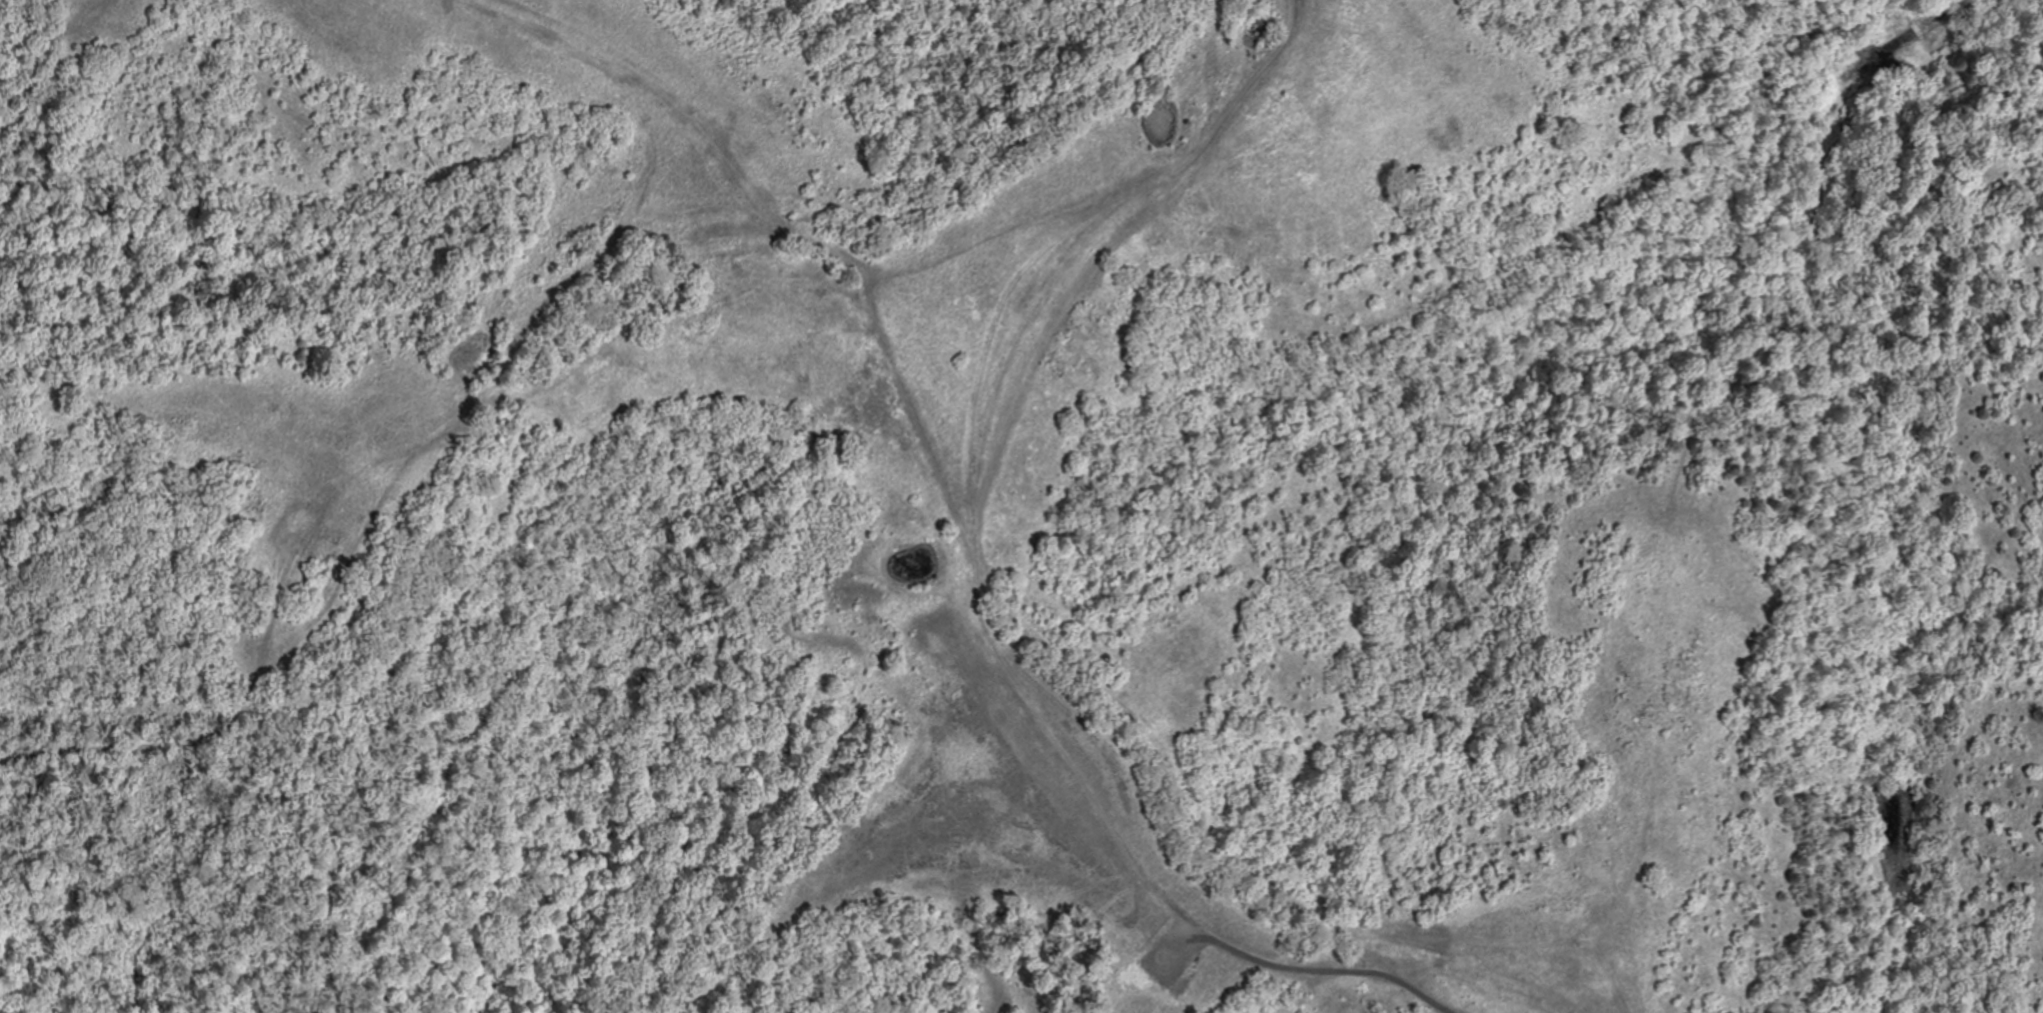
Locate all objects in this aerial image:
road: (795, 233)

